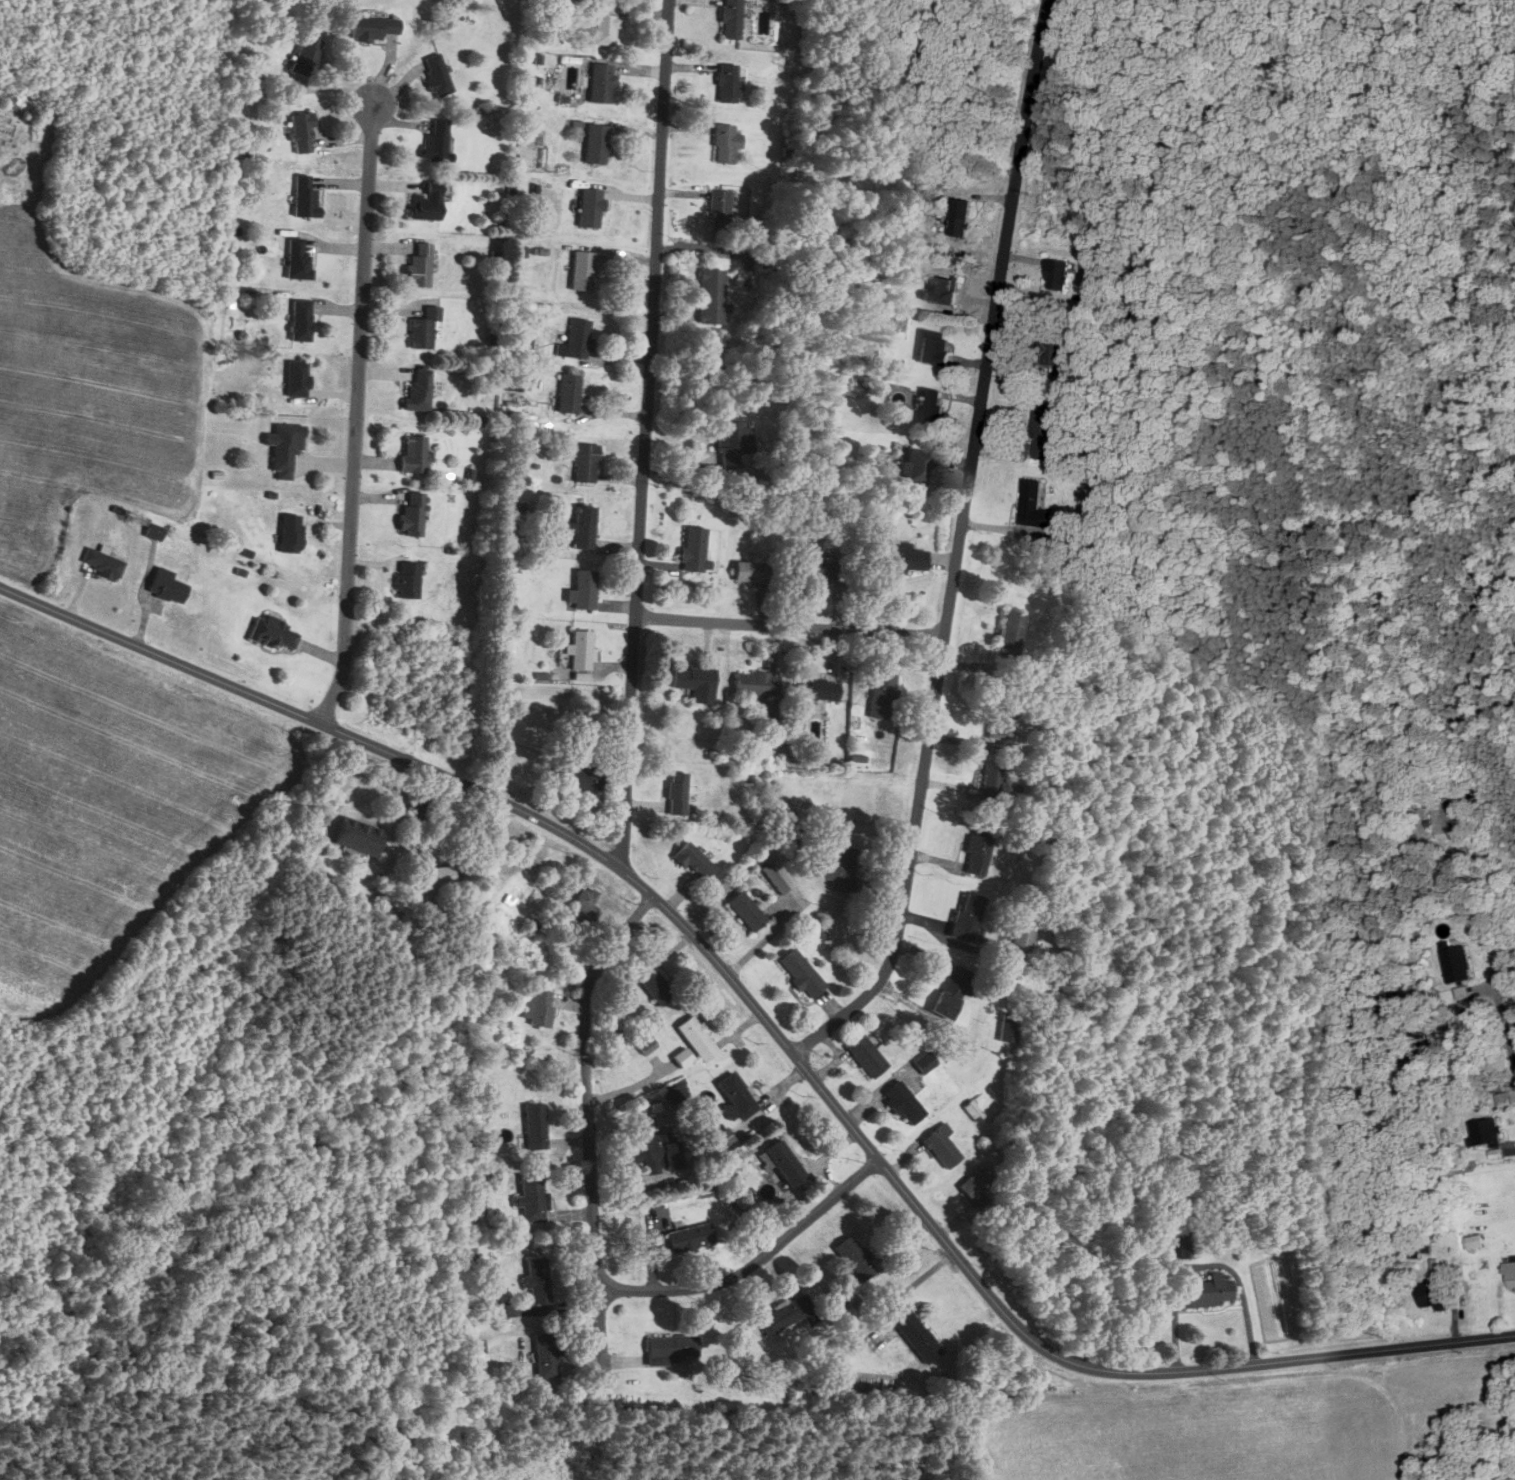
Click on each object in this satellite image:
building: (731, 19)
building: (606, 25)
building: (373, 28)
building: (307, 55)
building: (437, 75)
building: (601, 83)
building: (727, 83)
building: (302, 132)
building: (437, 141)
building: (726, 143)
building: (596, 144)
building: (305, 197)
building: (427, 203)
building: (590, 208)
building: (719, 209)
building: (959, 218)
building: (298, 260)
building: (420, 267)
building: (582, 271)
building: (1058, 275)
building: (945, 290)
building: (711, 296)
building: (301, 320)
building: (424, 328)
building: (579, 338)
building: (1053, 345)
building: (935, 348)
building: (297, 378)
building: (419, 389)
building: (569, 393)
building: (930, 409)
road: (357, 412)
building: (1044, 432)
road: (647, 433)
building: (733, 443)
building: (285, 447)
building: (414, 453)
building: (587, 463)
building: (917, 467)
building: (1034, 505)
building: (413, 514)
building: (584, 527)
building: (155, 531)
building: (290, 533)
road: (959, 547)
building: (695, 550)
building: (899, 558)
building: (102, 562)
building: (820, 569)
building: (753, 572)
building: (408, 580)
building: (167, 586)
building: (584, 590)
road: (790, 626)
building: (274, 633)
building: (1011, 635)
building: (582, 650)
building: (697, 683)
building: (757, 683)
building: (819, 689)
building: (883, 696)
building: (1001, 726)
building: (581, 773)
building: (991, 782)
building: (678, 794)
building: (1440, 809)
building: (424, 812)
building: (358, 836)
building: (979, 850)
building: (695, 861)
building: (839, 869)
building: (441, 876)
building: (586, 904)
building: (747, 911)
building: (968, 918)
building: (1023, 940)
road: (1491, 940)
building: (1457, 964)
building: (802, 973)
building: (655, 985)
building: (953, 992)
building: (539, 1007)
road: (770, 1025)
building: (1009, 1027)
building: (698, 1038)
building: (867, 1056)
building: (683, 1058)
building: (925, 1062)
building: (677, 1092)
building: (738, 1095)
building: (904, 1103)
building: (973, 1110)
building: (536, 1126)
building: (1487, 1135)
building: (942, 1146)
building: (655, 1148)
building: (781, 1163)
building: (978, 1183)
building: (531, 1198)
road: (595, 1237)
building: (691, 1238)
building: (1475, 1243)
building: (855, 1259)
building: (1510, 1274)
building: (538, 1281)
building: (1209, 1292)
building: (1433, 1296)
building: (787, 1316)
building: (916, 1335)
road: (601, 1336)
building: (476, 1346)
building: (676, 1352)
building: (547, 1356)

